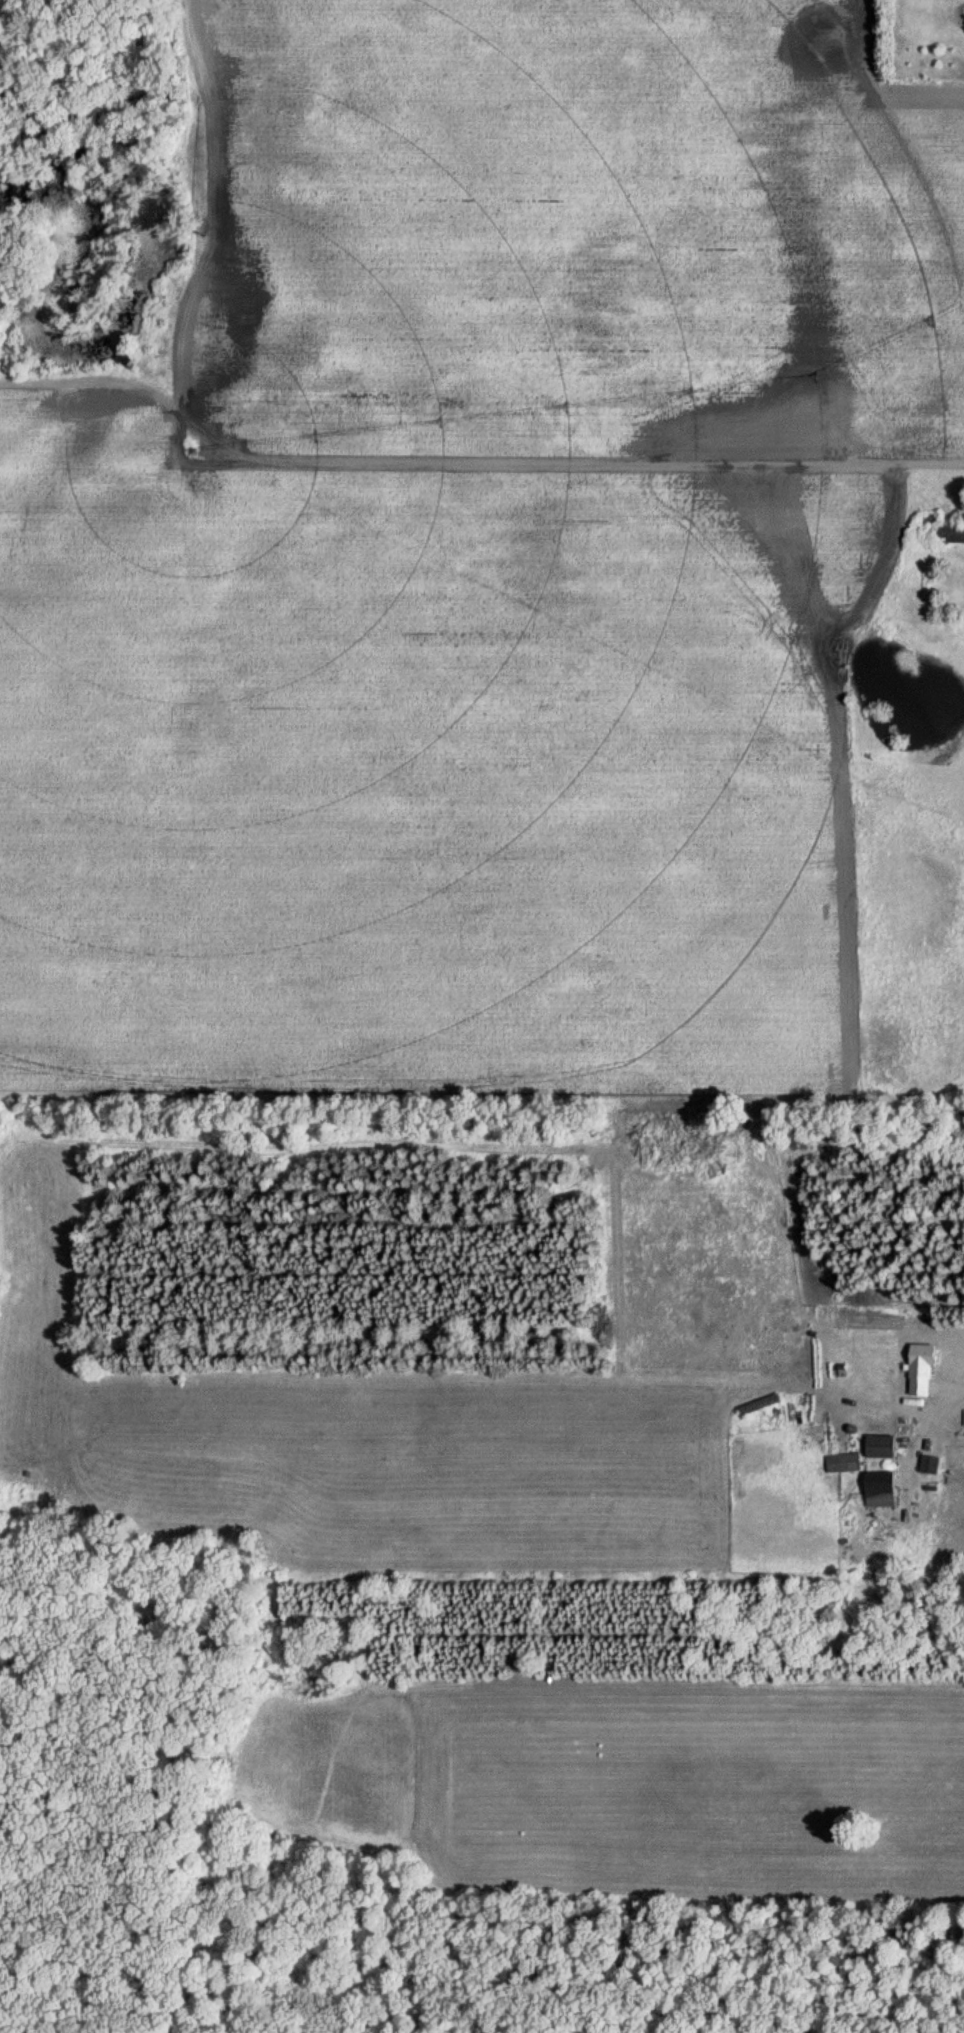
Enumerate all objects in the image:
road: (458, 464)
building: (949, 534)
building: (917, 1369)
road: (930, 1405)
building: (877, 1447)
building: (841, 1464)
building: (876, 1490)

